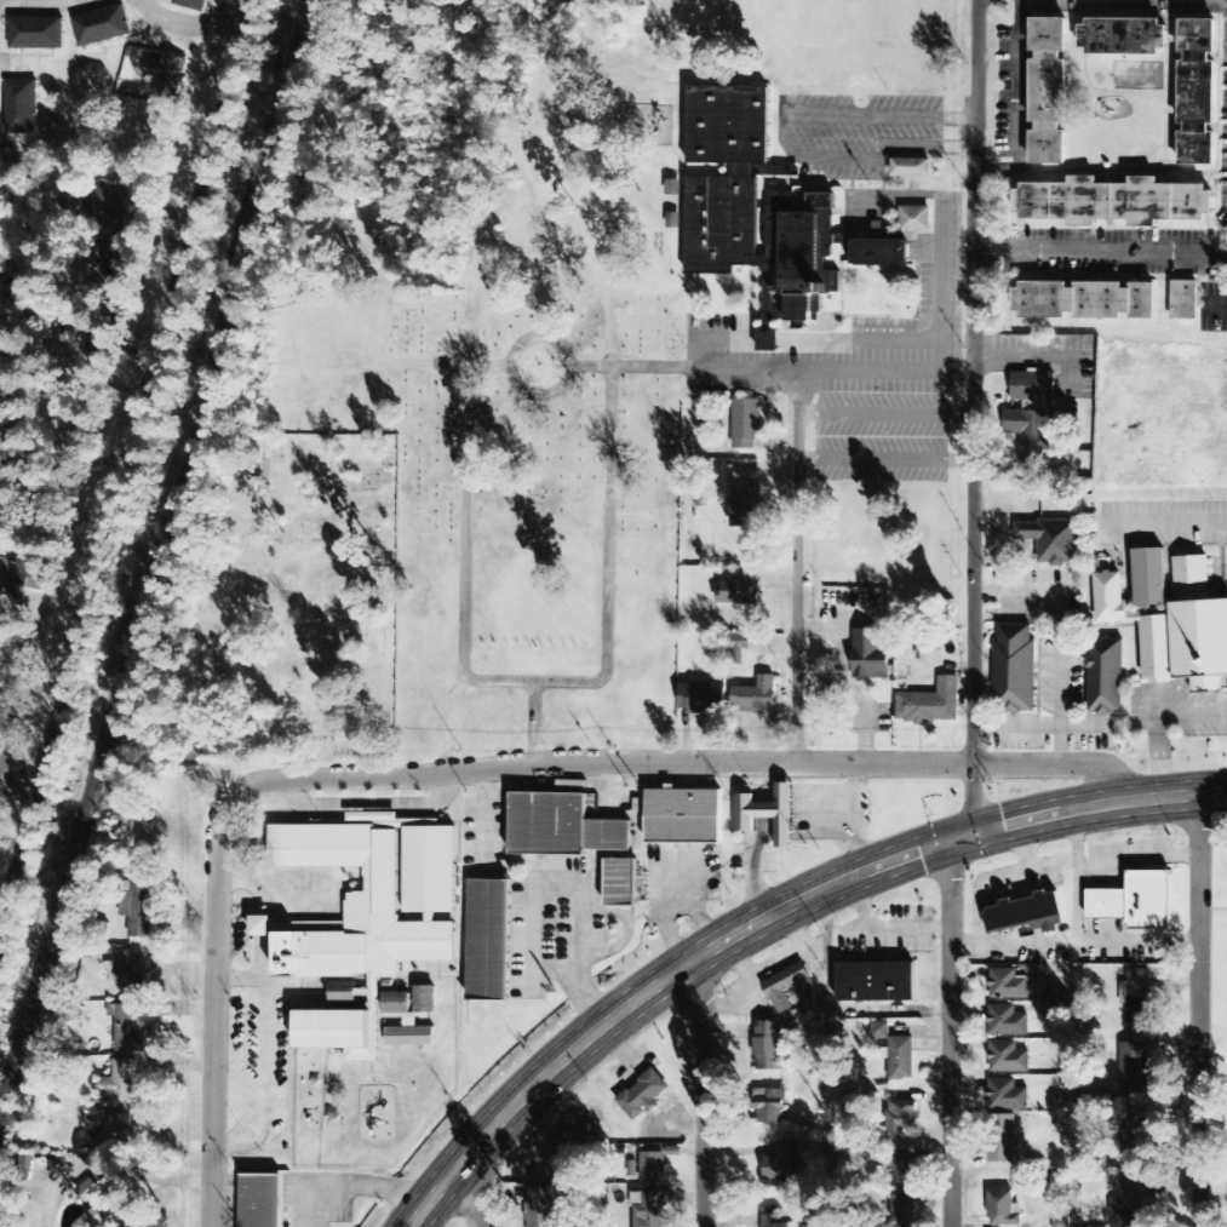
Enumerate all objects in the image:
road: (148, 2)
building: (191, 5)
road: (189, 22)
building: (102, 27)
building: (36, 34)
building: (1126, 34)
building: (167, 78)
building: (1051, 88)
building: (1200, 90)
road: (1020, 105)
building: (21, 108)
building: (911, 168)
building: (672, 188)
building: (1114, 200)
building: (104, 203)
building: (24, 206)
building: (721, 214)
building: (916, 219)
road: (1102, 251)
building: (111, 259)
building: (2, 285)
building: (1085, 298)
building: (1186, 298)
building: (1, 340)
building: (97, 357)
road: (976, 382)
road: (74, 388)
building: (746, 424)
road: (125, 475)
park: (506, 493)
building: (745, 499)
building: (1051, 540)
railway: (153, 552)
building: (1152, 575)
building: (18, 579)
road: (799, 586)
building: (739, 592)
park: (300, 597)
building: (1175, 623)
building: (739, 648)
building: (870, 655)
building: (1016, 666)
building: (1107, 673)
building: (756, 696)
building: (703, 699)
building: (930, 705)
park: (23, 707)
road: (5, 741)
road: (4, 764)
road: (1056, 764)
road: (600, 772)
road: (25, 784)
road: (1171, 796)
road: (974, 798)
building: (768, 814)
building: (683, 818)
building: (561, 827)
traffic signals: (974, 833)
traffic signals: (942, 843)
building: (431, 868)
building: (621, 883)
building: (1136, 902)
building: (138, 907)
building: (356, 908)
building: (1027, 913)
building: (260, 927)
building: (489, 941)
road: (719, 942)
building: (131, 973)
building: (876, 984)
building: (1009, 985)
building: (789, 988)
building: (345, 991)
building: (1140, 997)
building: (426, 998)
building: (399, 1002)
road: (216, 1010)
road: (1198, 1010)
road: (1079, 1017)
building: (1008, 1022)
building: (130, 1028)
building: (881, 1032)
building: (337, 1033)
road: (951, 1034)
building: (412, 1036)
building: (768, 1048)
road: (830, 1057)
building: (901, 1059)
building: (1008, 1059)
building: (1137, 1066)
building: (119, 1086)
road: (703, 1093)
building: (643, 1096)
building: (1007, 1096)
building: (772, 1107)
building: (902, 1117)
building: (113, 1128)
building: (1134, 1136)
building: (1002, 1140)
building: (566, 1153)
building: (784, 1164)
building: (653, 1168)
building: (905, 1191)
building: (88, 1192)
road: (476, 1194)
building: (260, 1200)
building: (1136, 1203)
building: (541, 1206)
building: (648, 1210)
building: (1004, 1210)
building: (1061, 1217)
building: (90, 1221)

